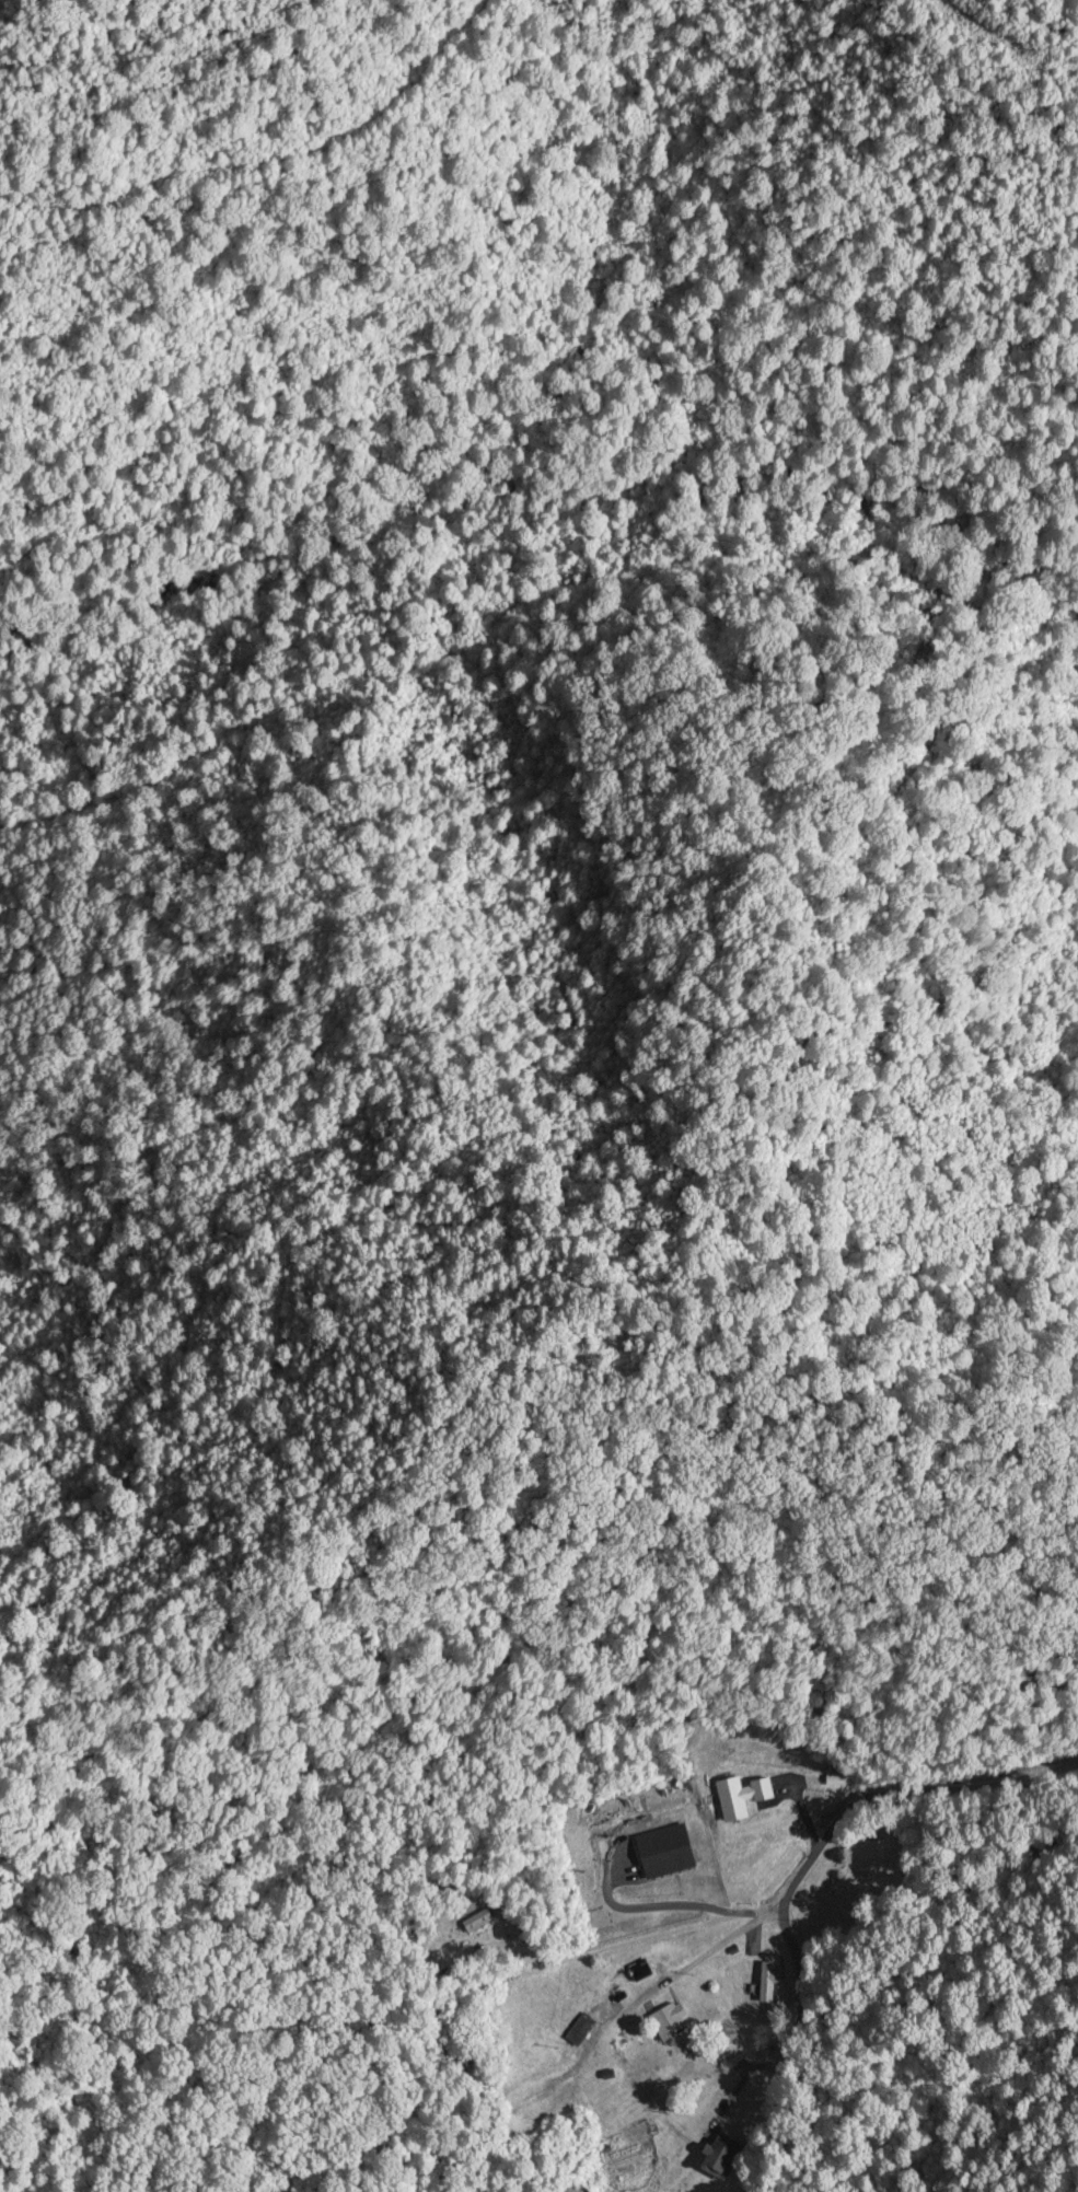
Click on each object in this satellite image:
road: (409, 1970)
road: (810, 2023)

